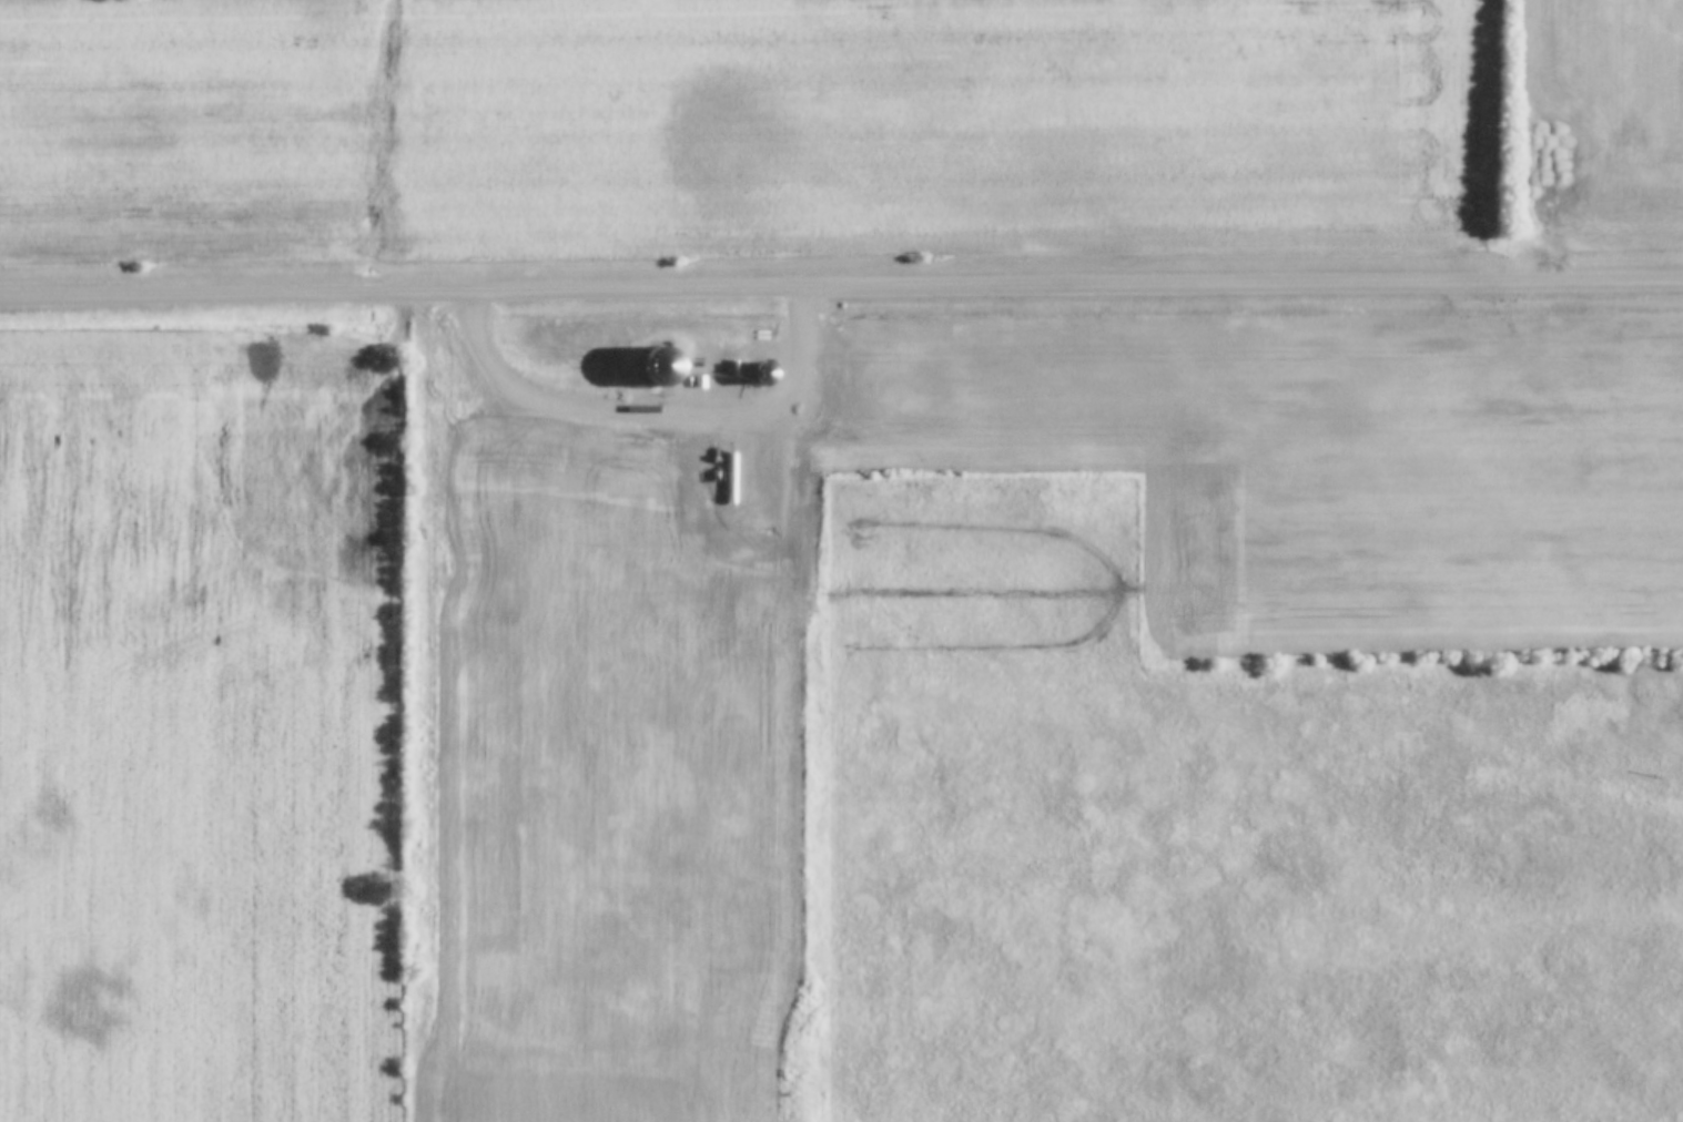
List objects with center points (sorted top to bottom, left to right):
road: (841, 290)

